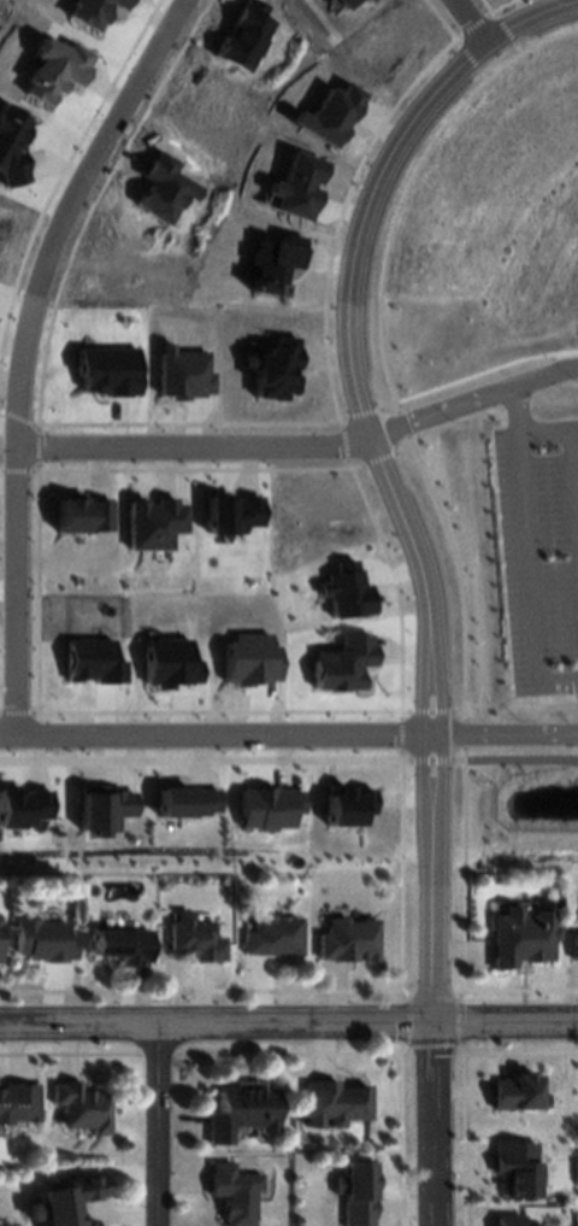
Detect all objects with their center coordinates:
building: (371, 1)
building: (348, 4)
building: (92, 12)
road: (470, 17)
building: (54, 70)
building: (330, 116)
building: (11, 147)
building: (297, 188)
building: (277, 265)
road: (22, 350)
building: (110, 371)
building: (278, 371)
building: (188, 374)
road: (365, 389)
road: (477, 397)
road: (518, 407)
road: (199, 447)
road: (525, 501)
building: (85, 515)
building: (235, 515)
building: (157, 524)
parking lot: (541, 550)
building: (348, 592)
building: (253, 661)
building: (94, 662)
building: (171, 664)
building: (344, 664)
road: (214, 734)
road: (503, 735)
road: (288, 761)
building: (191, 803)
building: (349, 806)
building: (24, 808)
building: (107, 809)
building: (271, 809)
building: (0, 933)
building: (271, 933)
building: (521, 934)
building: (193, 935)
building: (42, 938)
building: (349, 938)
building: (120, 943)
building: (576, 946)
road: (288, 1027)
road: (430, 1051)
building: (517, 1091)
building: (17, 1101)
building: (336, 1101)
building: (81, 1105)
building: (241, 1113)
road: (155, 1127)
building: (517, 1166)
building: (235, 1191)
building: (360, 1191)
building: (65, 1201)
building: (517, 1220)

